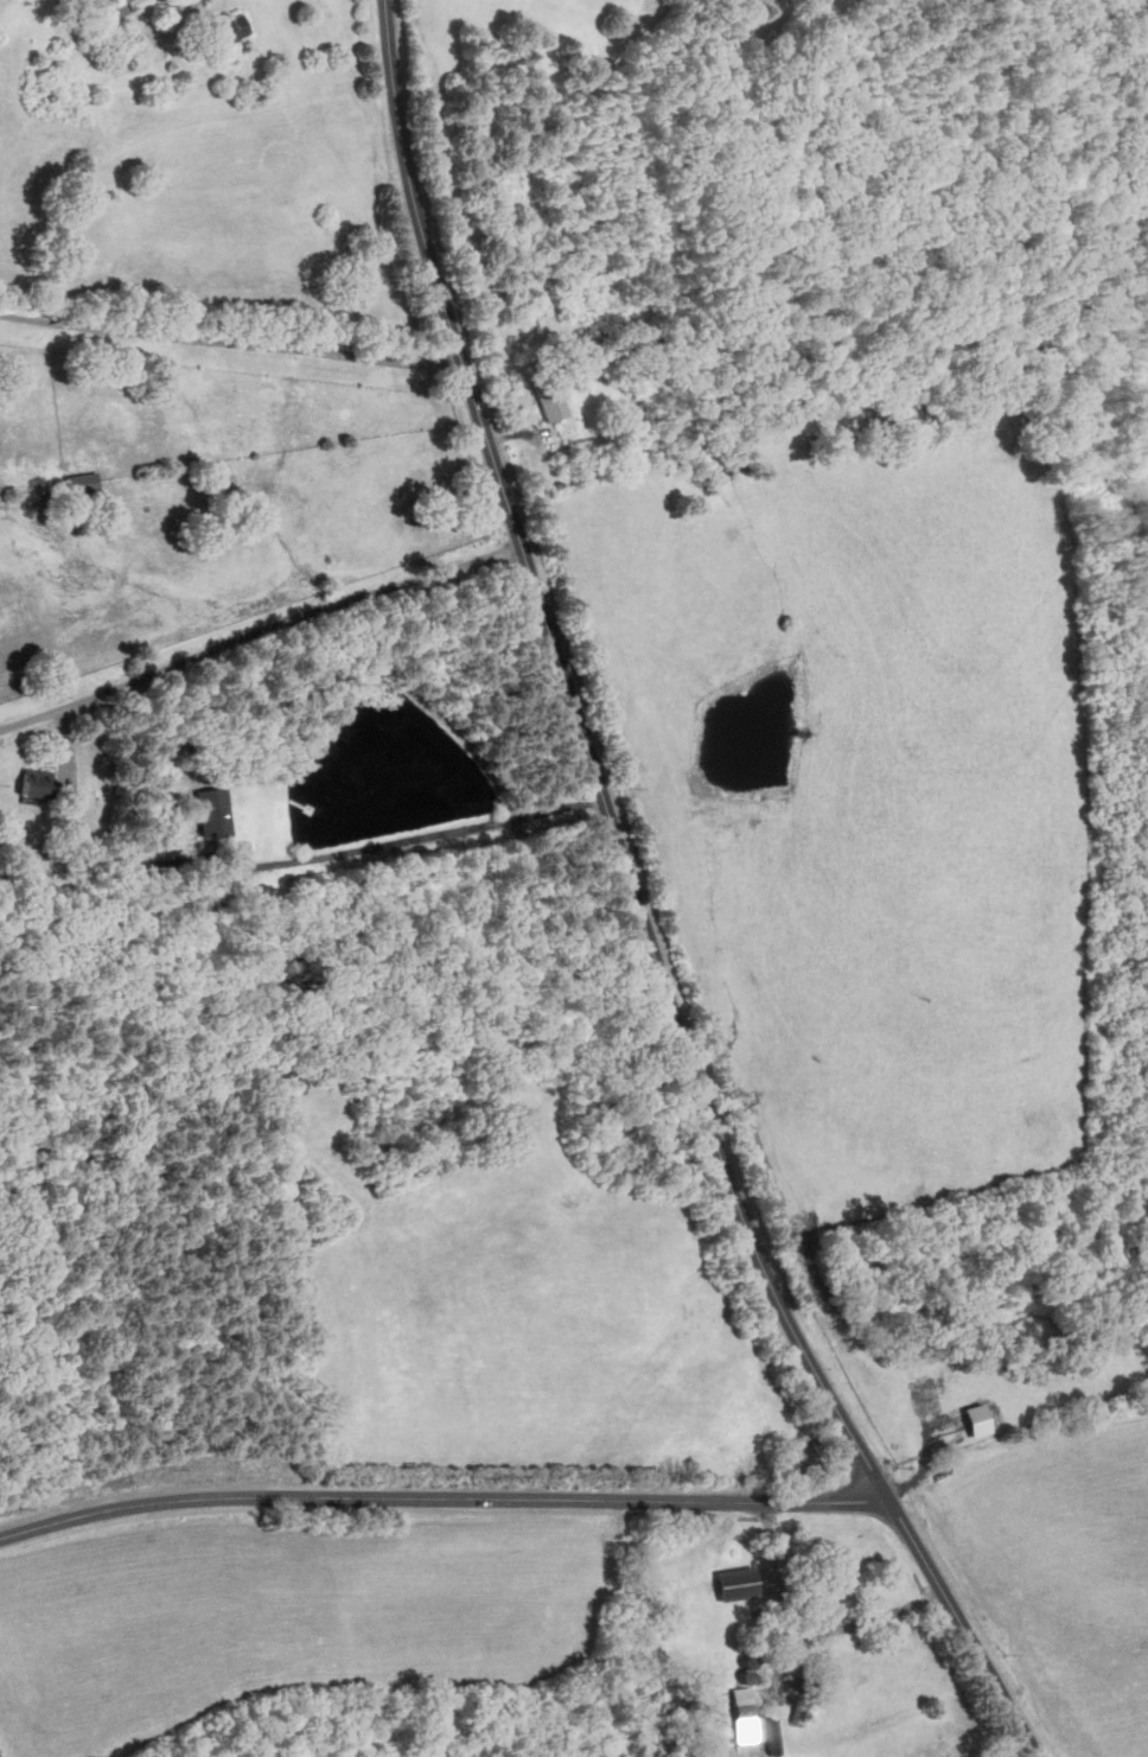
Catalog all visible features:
building: (125, 6)
road: (174, 11)
building: (229, 31)
road: (230, 340)
building: (544, 396)
building: (82, 484)
road: (259, 630)
building: (39, 784)
building: (215, 814)
road: (423, 835)
road: (637, 906)
building: (976, 1419)
building: (810, 1453)
road: (442, 1496)
building: (741, 1583)
road: (803, 1632)
building: (744, 1706)
building: (772, 1734)

